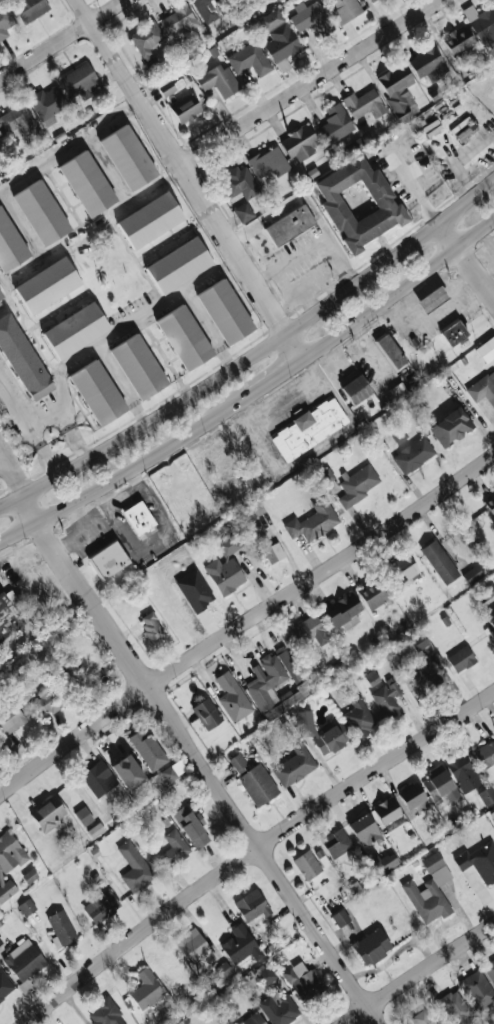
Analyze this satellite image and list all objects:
building: (370, 0)
building: (211, 8)
building: (29, 9)
building: (345, 10)
building: (311, 17)
building: (178, 18)
building: (5, 19)
building: (270, 20)
building: (481, 23)
road: (61, 39)
building: (458, 40)
building: (281, 42)
building: (148, 45)
building: (248, 58)
building: (427, 64)
building: (218, 80)
building: (81, 81)
road: (309, 83)
building: (171, 86)
building: (397, 91)
building: (48, 104)
building: (364, 104)
building: (185, 108)
building: (20, 123)
building: (335, 124)
building: (430, 129)
building: (465, 129)
building: (0, 137)
building: (299, 143)
building: (353, 145)
road: (70, 148)
building: (0, 153)
building: (128, 158)
building: (269, 162)
road: (109, 170)
road: (189, 180)
building: (239, 182)
building: (87, 184)
road: (416, 185)
road: (147, 192)
building: (358, 203)
building: (243, 211)
building: (41, 213)
building: (149, 220)
road: (23, 225)
building: (289, 225)
building: (10, 245)
road: (313, 247)
road: (468, 259)
road: (36, 264)
building: (177, 265)
road: (283, 283)
building: (48, 285)
road: (400, 289)
building: (1, 296)
building: (432, 299)
road: (311, 301)
road: (283, 305)
building: (226, 312)
road: (133, 323)
road: (209, 328)
building: (76, 331)
building: (453, 332)
building: (184, 338)
building: (486, 349)
building: (390, 351)
road: (252, 354)
building: (22, 360)
building: (140, 367)
road: (278, 378)
road: (121, 383)
building: (483, 388)
building: (356, 389)
building: (99, 393)
road: (64, 417)
building: (451, 427)
road: (28, 428)
building: (309, 429)
building: (398, 435)
road: (319, 445)
building: (413, 454)
road: (0, 458)
road: (125, 470)
road: (10, 476)
building: (358, 485)
building: (490, 502)
building: (257, 507)
building: (139, 520)
building: (313, 521)
building: (228, 544)
building: (267, 546)
building: (107, 559)
building: (439, 562)
building: (402, 570)
building: (224, 574)
building: (472, 575)
building: (194, 591)
building: (486, 592)
building: (373, 594)
building: (343, 611)
building: (8, 617)
road: (245, 623)
building: (151, 626)
building: (490, 629)
building: (303, 633)
building: (418, 641)
building: (461, 659)
building: (289, 664)
building: (337, 667)
building: (371, 677)
building: (422, 677)
building: (273, 686)
building: (232, 697)
building: (386, 699)
building: (46, 701)
building: (207, 713)
building: (359, 717)
building: (11, 718)
building: (321, 731)
building: (147, 749)
building: (485, 754)
road: (200, 761)
building: (238, 764)
building: (294, 766)
building: (462, 771)
building: (128, 772)
building: (169, 773)
building: (98, 778)
building: (258, 784)
building: (440, 784)
building: (411, 795)
building: (487, 795)
building: (387, 811)
building: (48, 813)
building: (83, 816)
building: (190, 826)
building: (95, 830)
building: (364, 830)
building: (337, 844)
building: (173, 847)
road: (254, 848)
building: (479, 861)
building: (384, 863)
building: (307, 864)
building: (134, 867)
building: (30, 876)
building: (429, 891)
building: (252, 905)
building: (26, 907)
building: (99, 907)
building: (340, 917)
building: (60, 927)
building: (0, 941)
building: (241, 945)
building: (193, 946)
building: (372, 946)
building: (23, 960)
building: (223, 970)
building: (490, 970)
road: (419, 973)
building: (265, 975)
building: (303, 980)
building: (4, 986)
building: (25, 986)
building: (478, 988)
building: (146, 989)
building: (455, 1007)
building: (279, 1008)
building: (104, 1013)
building: (422, 1017)
building: (252, 1019)

